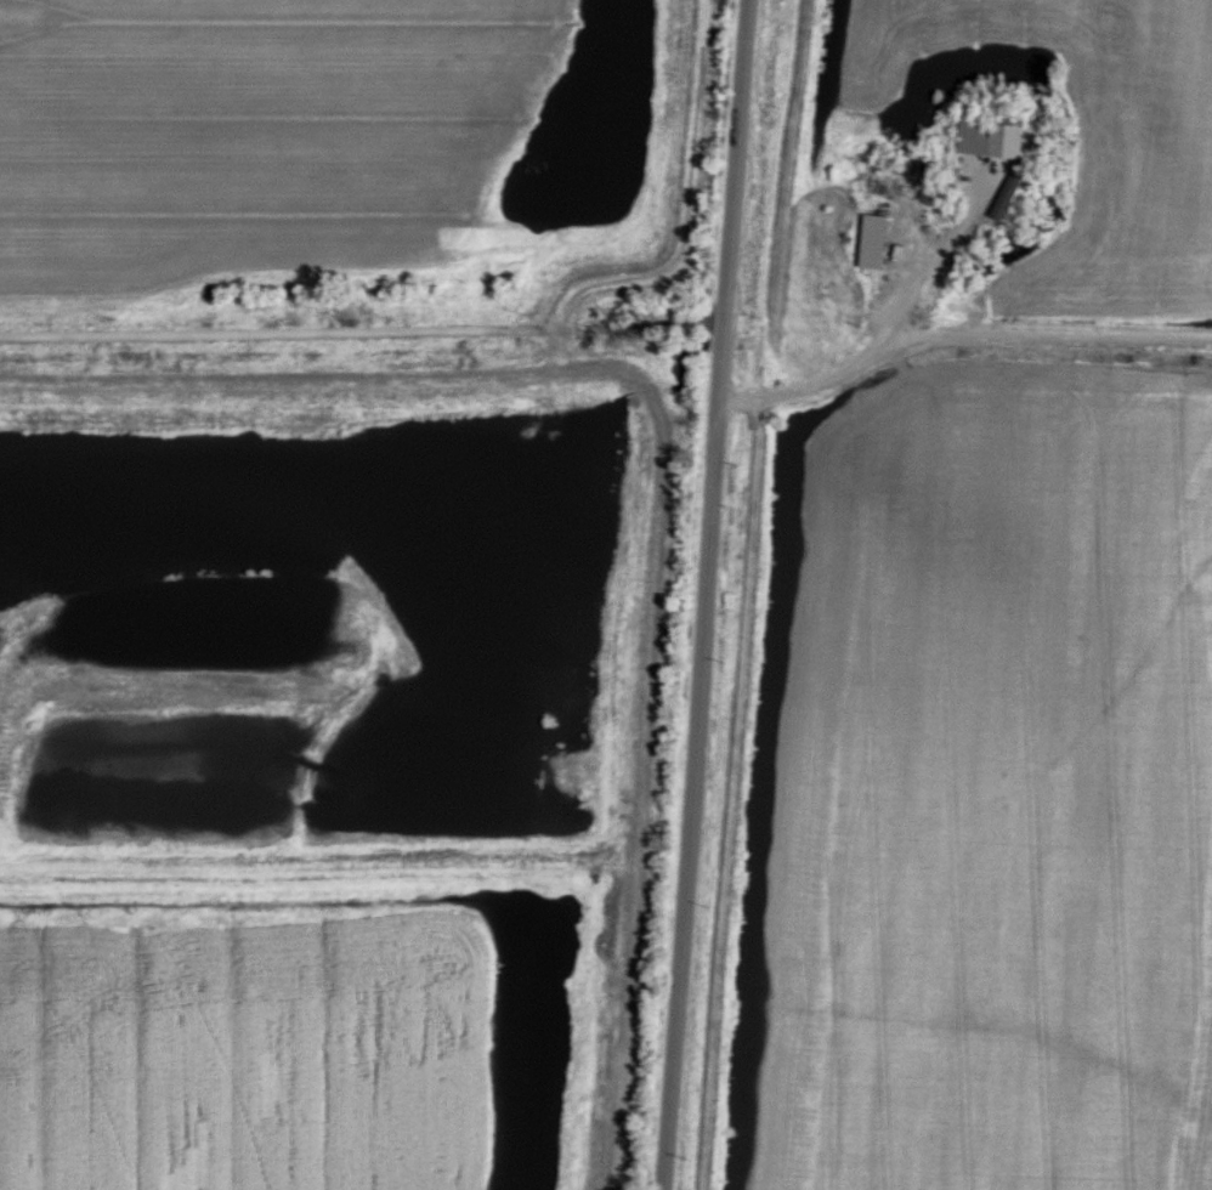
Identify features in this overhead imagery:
building: (991, 138)
building: (872, 240)
road: (361, 327)
road: (854, 359)
road: (701, 595)

